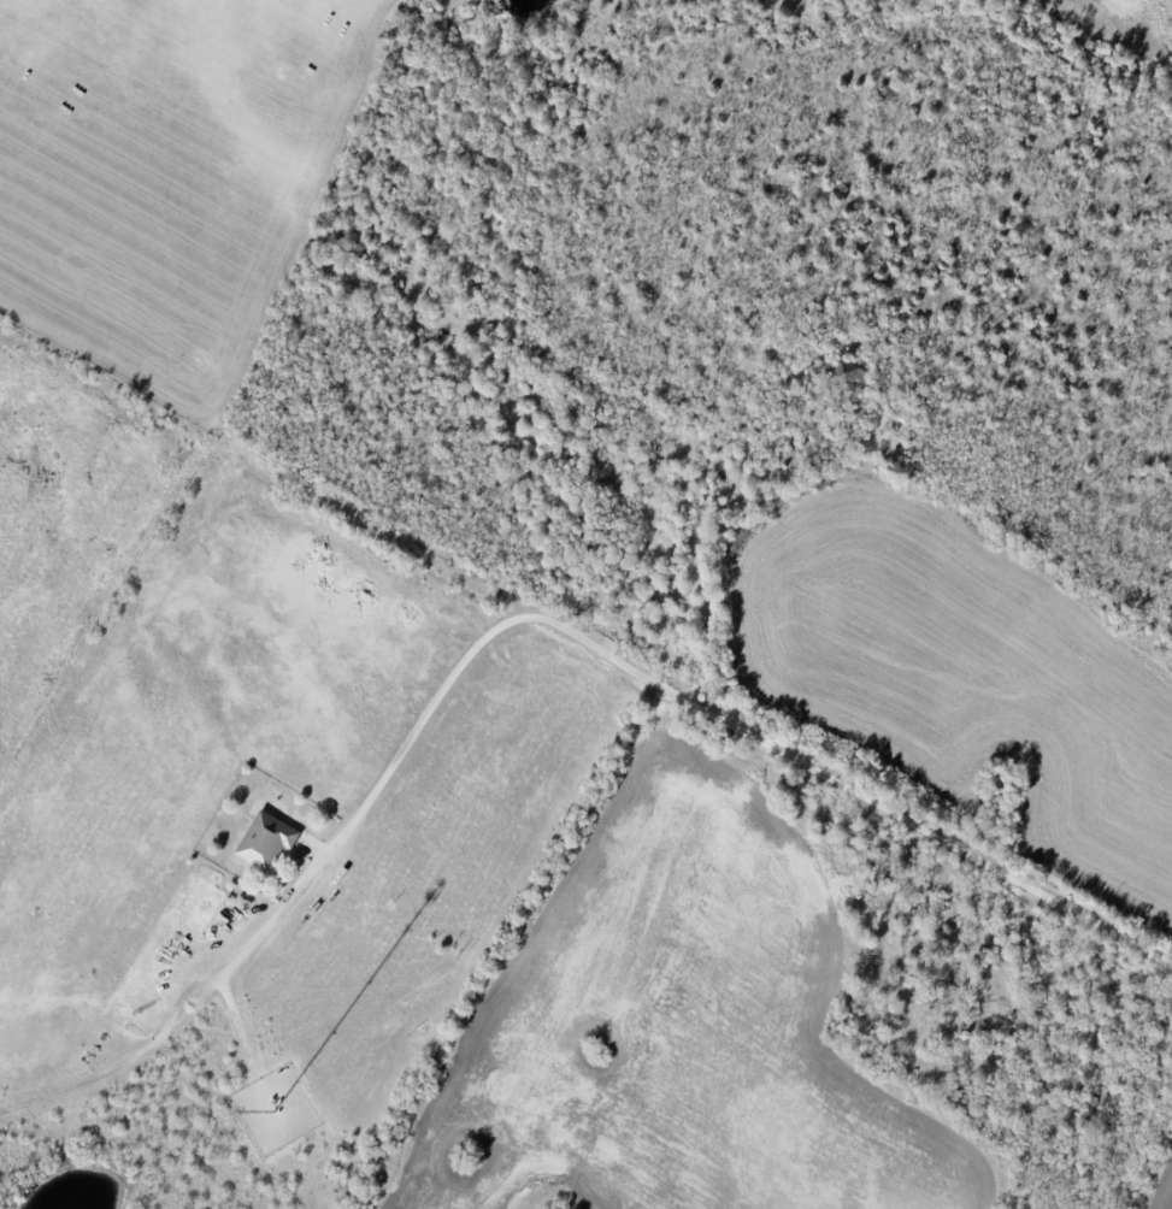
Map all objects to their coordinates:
road: (672, 689)
building: (266, 841)
road: (154, 1039)

